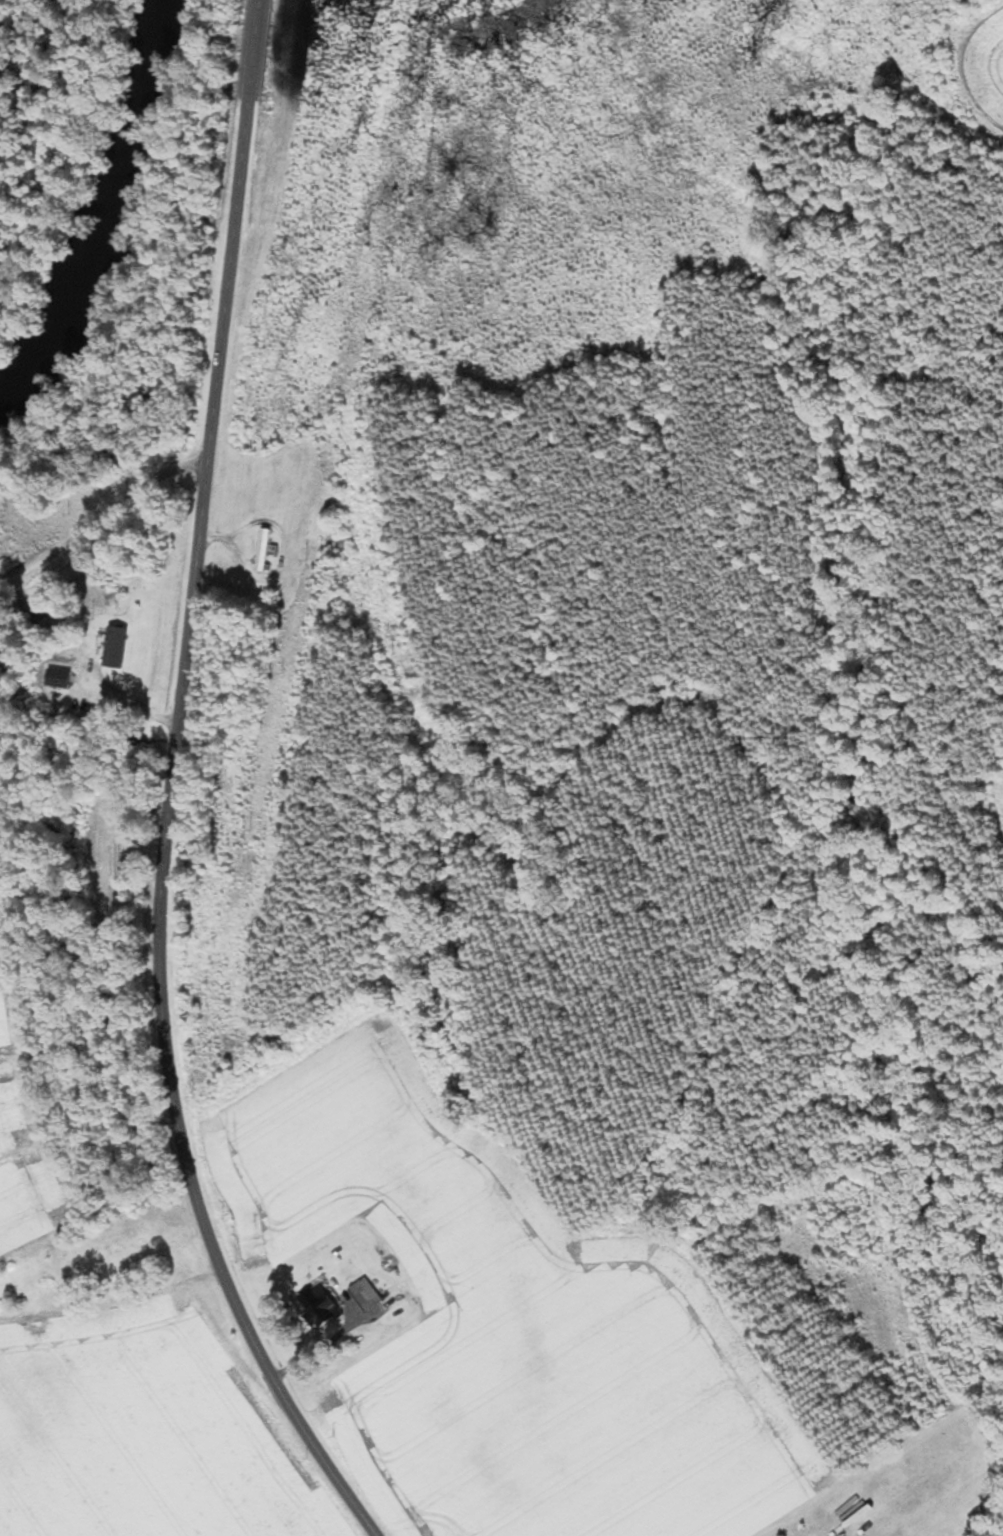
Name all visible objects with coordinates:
river: (102, 212)
road: (97, 514)
building: (258, 548)
building: (120, 646)
road: (170, 791)
building: (357, 1299)
road: (320, 1349)

